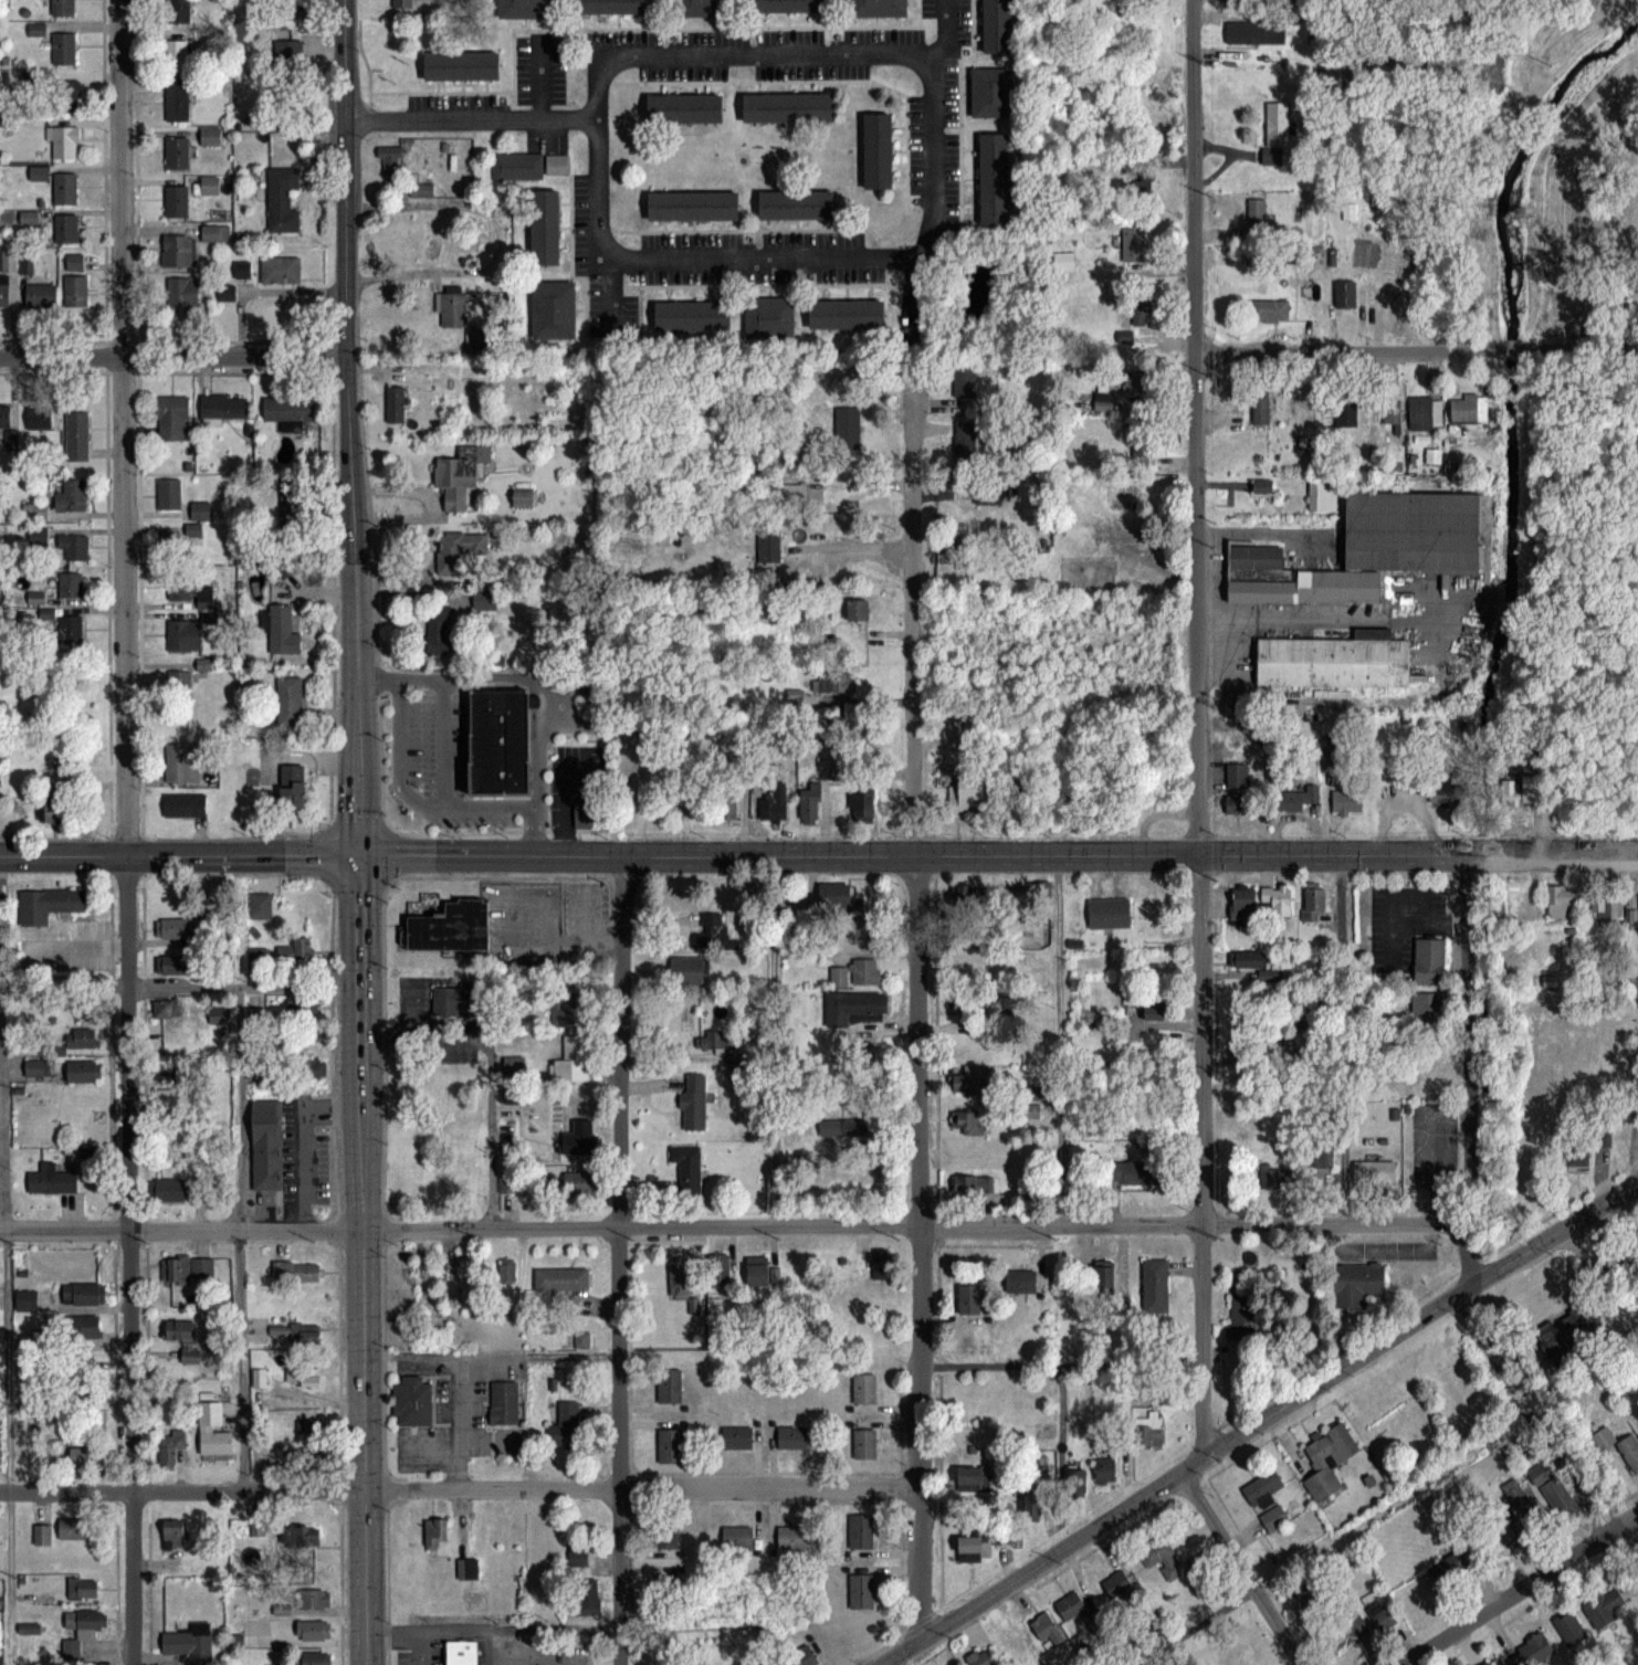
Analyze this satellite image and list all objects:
building: (402, 3)
building: (786, 4)
building: (63, 7)
building: (615, 7)
building: (291, 8)
building: (526, 8)
building: (701, 8)
building: (878, 8)
building: (178, 10)
building: (996, 25)
building: (1251, 31)
road: (943, 35)
building: (65, 49)
building: (290, 52)
building: (178, 53)
road: (885, 53)
building: (461, 64)
road: (538, 77)
building: (990, 91)
building: (66, 96)
building: (178, 101)
building: (788, 107)
building: (683, 108)
road: (471, 120)
building: (1277, 130)
building: (211, 136)
building: (64, 141)
building: (878, 149)
building: (177, 152)
building: (391, 160)
building: (516, 165)
building: (993, 177)
road: (345, 178)
building: (210, 185)
building: (65, 188)
building: (421, 189)
building: (283, 199)
building: (177, 201)
building: (692, 204)
building: (796, 204)
building: (1257, 212)
building: (544, 225)
building: (67, 230)
building: (216, 232)
building: (1134, 240)
building: (179, 250)
building: (1064, 262)
building: (242, 268)
building: (281, 268)
road: (264, 289)
building: (4, 292)
building: (76, 293)
building: (1345, 293)
building: (182, 294)
road: (610, 294)
building: (41, 295)
building: (552, 308)
building: (1142, 309)
building: (1270, 309)
building: (454, 312)
building: (846, 313)
building: (691, 315)
building: (768, 316)
building: (1125, 336)
road: (1415, 348)
road: (172, 357)
building: (966, 380)
building: (396, 403)
building: (223, 408)
building: (1261, 408)
building: (290, 409)
building: (1390, 409)
building: (1468, 409)
building: (1346, 412)
building: (1426, 412)
building: (4, 415)
building: (39, 418)
building: (172, 419)
building: (849, 425)
building: (77, 436)
building: (966, 439)
building: (460, 475)
building: (988, 492)
building: (169, 495)
building: (72, 496)
building: (1322, 497)
building: (182, 539)
road: (855, 546)
building: (74, 548)
building: (1367, 548)
building: (769, 550)
building: (453, 554)
building: (70, 584)
building: (192, 593)
building: (858, 609)
road: (1308, 617)
building: (432, 630)
building: (283, 631)
building: (185, 634)
building: (67, 637)
building: (1334, 660)
road: (492, 677)
building: (837, 683)
building: (178, 691)
road: (443, 698)
building: (290, 703)
road: (1195, 729)
road: (538, 739)
building: (498, 741)
building: (1329, 751)
road: (398, 757)
building: (182, 763)
building: (1236, 774)
building: (1522, 790)
building: (965, 792)
building: (1446, 792)
building: (292, 794)
building: (1298, 797)
building: (1346, 801)
building: (775, 803)
building: (810, 803)
building: (185, 804)
building: (1239, 804)
building: (55, 805)
building: (863, 805)
road: (492, 807)
building: (590, 807)
building: (726, 809)
road: (564, 810)
road: (539, 830)
road: (126, 832)
road: (819, 853)
traffic signals: (360, 855)
road: (1390, 893)
building: (836, 894)
building: (964, 897)
building: (1275, 899)
building: (1561, 902)
building: (48, 903)
building: (1242, 903)
building: (260, 905)
building: (1314, 906)
building: (1602, 910)
building: (1110, 914)
road: (1427, 925)
building: (171, 926)
building: (450, 927)
building: (861, 928)
building: (708, 930)
road: (77, 944)
building: (302, 947)
building: (1428, 958)
building: (1247, 959)
building: (175, 963)
building: (687, 969)
building: (858, 973)
building: (1271, 974)
road: (64, 983)
road: (243, 984)
building: (454, 999)
building: (965, 1002)
building: (569, 1003)
road: (918, 1005)
building: (1427, 1007)
building: (857, 1008)
building: (165, 1009)
building: (302, 1010)
road: (360, 1010)
building: (1154, 1010)
building: (220, 1015)
building: (83, 1037)
building: (714, 1039)
road: (1061, 1039)
road: (1340, 1039)
road: (773, 1040)
building: (977, 1048)
building: (574, 1060)
road: (492, 1065)
building: (1636, 1066)
building: (38, 1067)
road: (1466, 1067)
building: (315, 1068)
building: (84, 1071)
building: (185, 1076)
building: (969, 1084)
building: (170, 1100)
building: (694, 1102)
building: (967, 1121)
building: (1603, 1136)
road: (304, 1139)
building: (576, 1141)
building: (266, 1144)
building: (1575, 1157)
building: (1322, 1158)
building: (687, 1167)
building: (1136, 1171)
building: (1374, 1172)
road: (235, 1173)
building: (1270, 1177)
building: (52, 1180)
building: (576, 1181)
building: (975, 1188)
building: (171, 1189)
road: (733, 1225)
road: (617, 1258)
building: (883, 1265)
building: (186, 1267)
building: (465, 1268)
building: (506, 1269)
building: (298, 1271)
building: (721, 1271)
building: (762, 1273)
building: (561, 1277)
building: (680, 1277)
building: (1104, 1279)
building: (1022, 1282)
building: (1357, 1284)
building: (1155, 1285)
building: (88, 1293)
building: (25, 1298)
building: (969, 1298)
building: (1242, 1318)
road: (7, 1324)
building: (85, 1327)
building: (181, 1332)
building: (287, 1332)
building: (1568, 1335)
building: (582, 1340)
road: (490, 1352)
road: (1061, 1367)
building: (303, 1377)
building: (669, 1385)
building: (864, 1388)
building: (409, 1398)
building: (502, 1400)
road: (459, 1420)
road: (1260, 1422)
building: (567, 1423)
building: (303, 1424)
building: (213, 1430)
building: (1148, 1431)
building: (736, 1437)
building: (792, 1437)
road: (1546, 1440)
building: (864, 1444)
building: (169, 1445)
building: (670, 1445)
building: (1620, 1446)
building: (304, 1455)
building: (86, 1457)
building: (1327, 1459)
building: (1105, 1471)
building: (974, 1479)
building: (1077, 1480)
road: (459, 1487)
building: (1552, 1490)
building: (1513, 1494)
building: (1266, 1499)
building: (1032, 1506)
building: (71, 1527)
building: (860, 1531)
building: (1509, 1531)
building: (42, 1532)
building: (434, 1532)
building: (174, 1534)
building: (666, 1535)
building: (301, 1537)
building: (737, 1537)
road: (1332, 1538)
building: (792, 1539)
building: (974, 1548)
building: (579, 1557)
building: (1163, 1558)
building: (505, 1566)
building: (1451, 1567)
building: (468, 1569)
road: (1240, 1569)
building: (666, 1582)
building: (83, 1587)
building: (1119, 1587)
road: (1519, 1590)
building: (861, 1591)
building: (314, 1599)
building: (585, 1603)
building: (283, 1605)
building: (1604, 1609)
building: (1081, 1611)
building: (1384, 1620)
building: (86, 1621)
road: (492, 1626)
building: (1047, 1629)
building: (313, 1630)
building: (1571, 1630)
building: (190, 1646)
road: (418, 1646)
road: (484, 1646)
building: (1536, 1650)
building: (459, 1651)
building: (804, 1655)
building: (313, 1658)
building: (980, 1658)
road: (886, 1664)
building: (1488, 1664)

